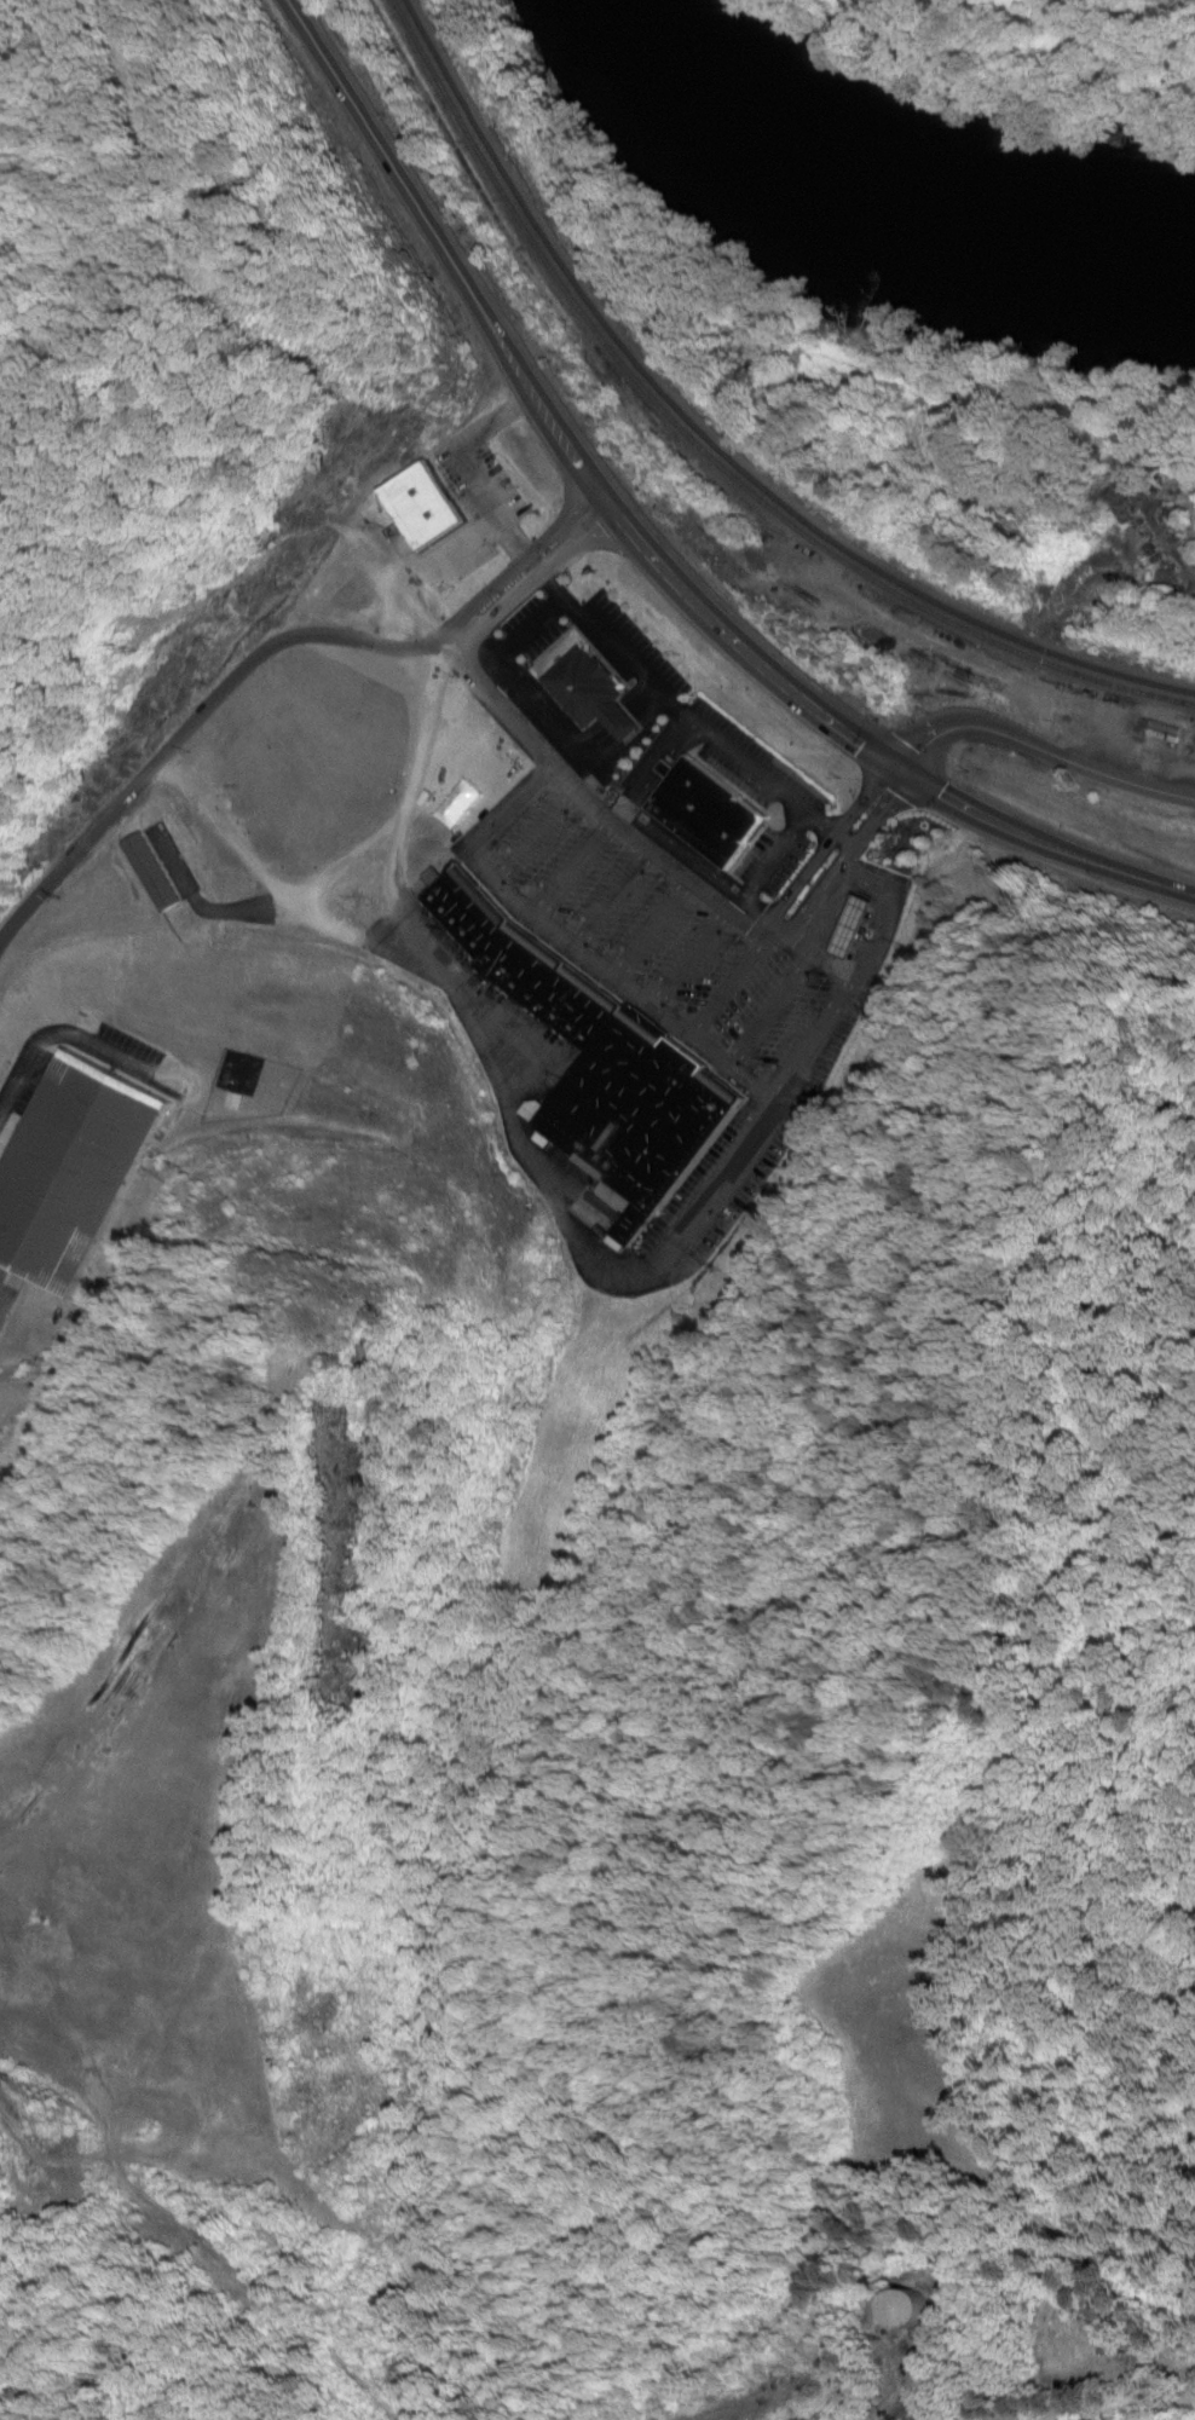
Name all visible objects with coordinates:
river: (862, 185)
railway: (709, 449)
railway: (709, 452)
building: (422, 507)
road: (1165, 543)
road: (646, 550)
building: (593, 694)
road: (1041, 752)
building: (709, 815)
road: (841, 838)
road: (849, 848)
building: (154, 873)
building: (855, 928)
building: (602, 1068)
building: (71, 1171)
building: (910, 2309)
park: (1090, 2370)
road: (1101, 2409)

